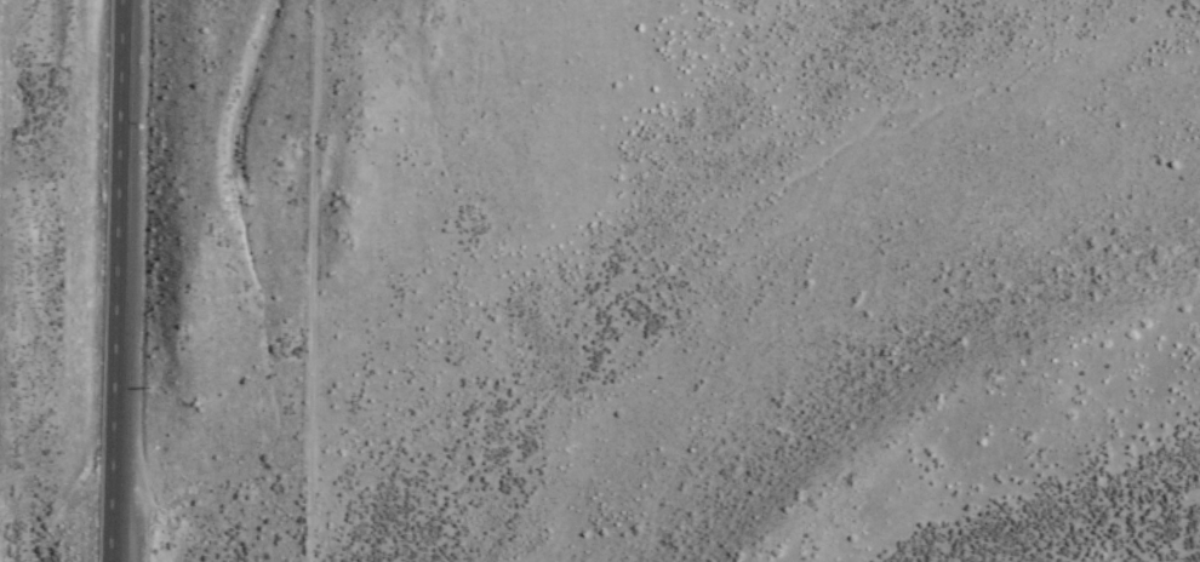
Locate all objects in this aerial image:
road: (307, 280)
road: (121, 281)
crop: (743, 296)

